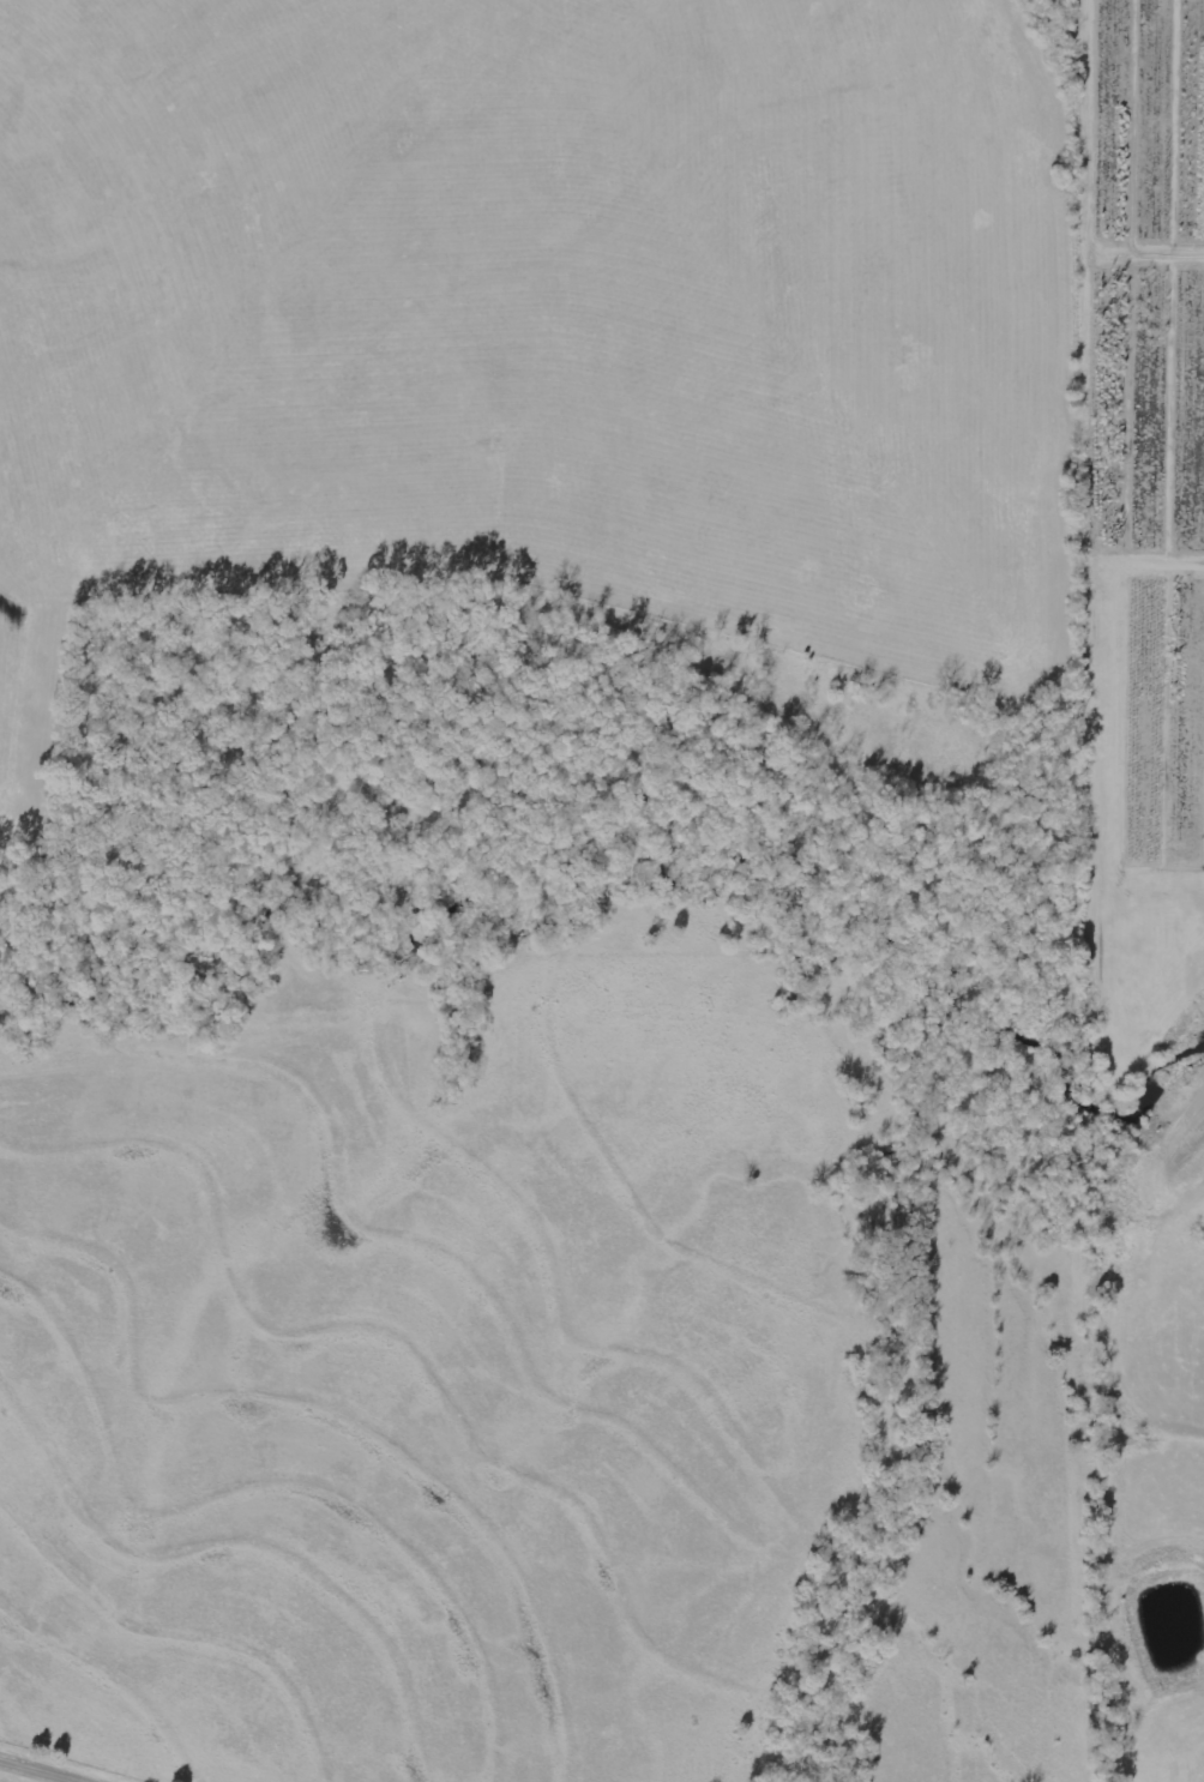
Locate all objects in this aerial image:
road: (43, 1769)

